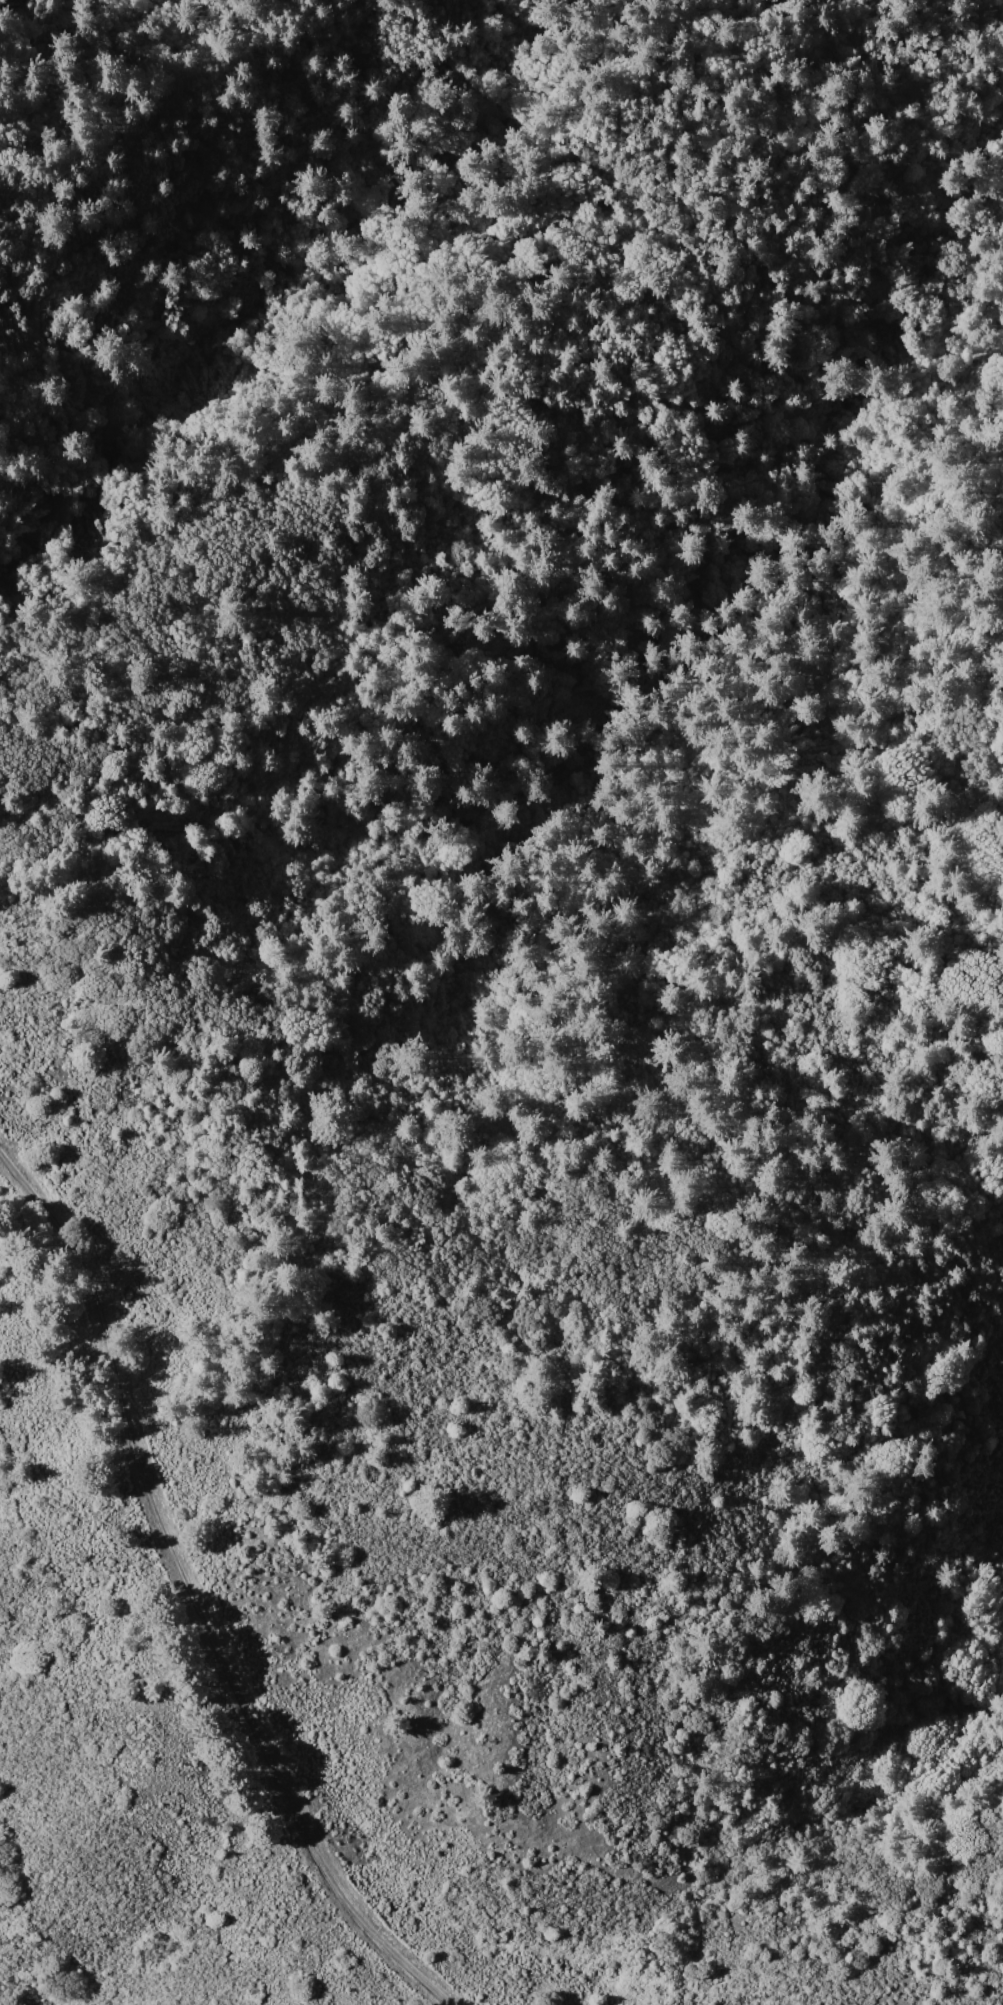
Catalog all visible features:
road: (197, 1594)

